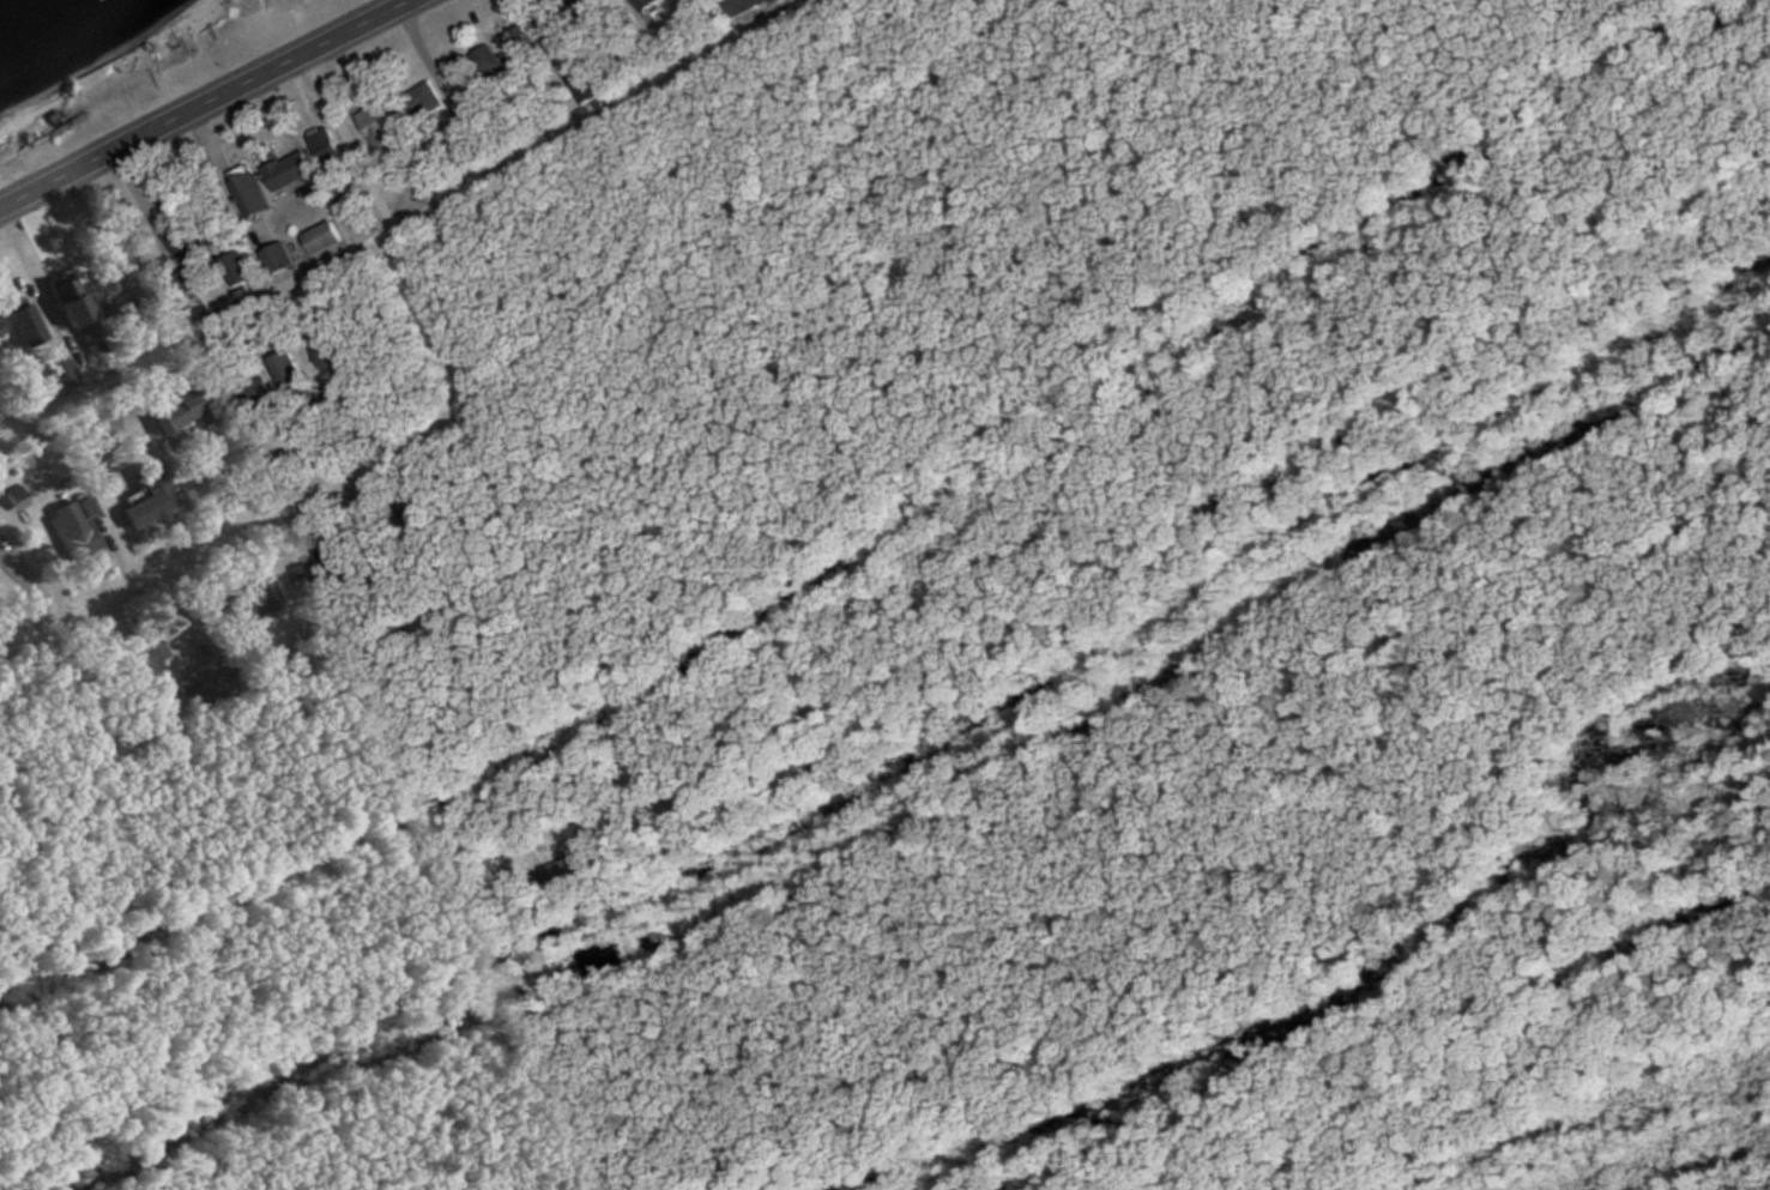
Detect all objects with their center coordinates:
building: (761, 1)
building: (651, 5)
building: (515, 42)
park: (173, 46)
building: (483, 60)
building: (455, 72)
road: (204, 102)
building: (376, 129)
building: (327, 146)
building: (289, 173)
building: (254, 199)
building: (324, 238)
building: (180, 248)
building: (283, 259)
building: (104, 297)
building: (65, 301)
building: (26, 327)
building: (0, 331)
building: (326, 349)
building: (285, 372)
building: (192, 410)
road: (417, 448)
road: (584, 485)
building: (158, 502)
building: (75, 530)
building: (204, 683)

